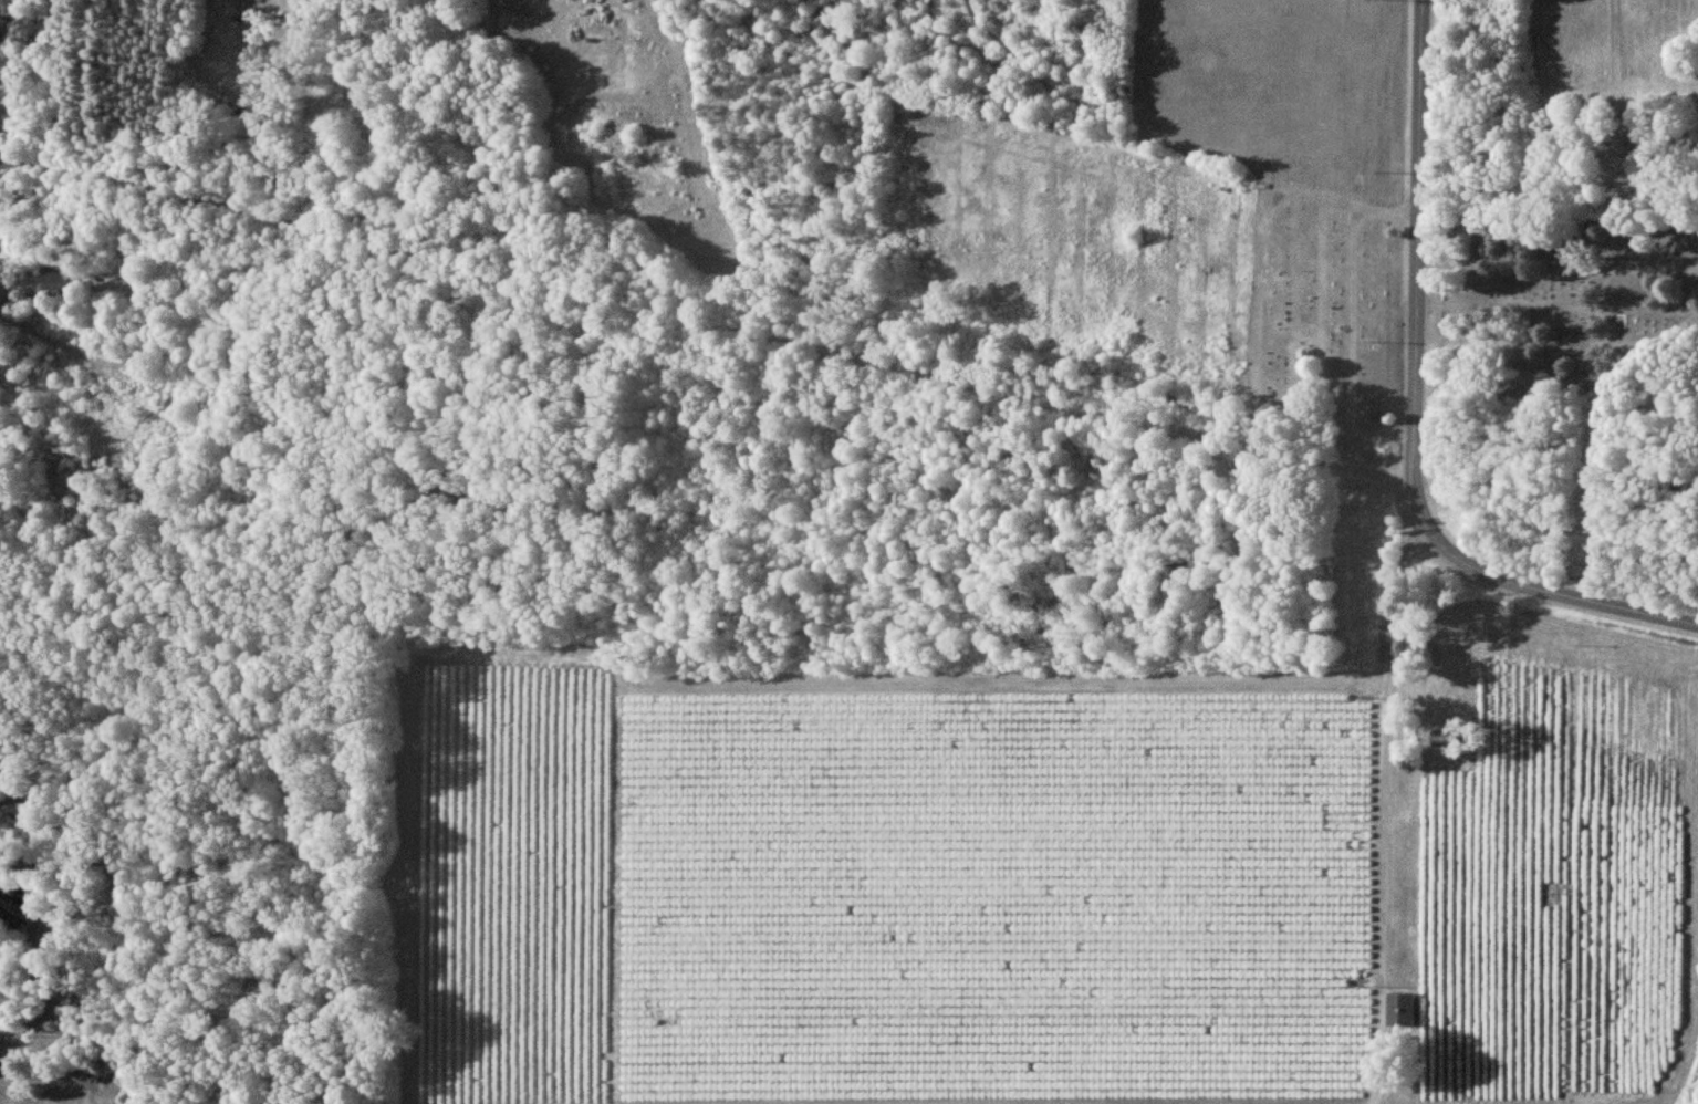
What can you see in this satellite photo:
road: (1417, 244)
building: (58, 279)
road: (81, 347)
road: (848, 354)
road: (1535, 587)
building: (1442, 738)
building: (1402, 1009)

